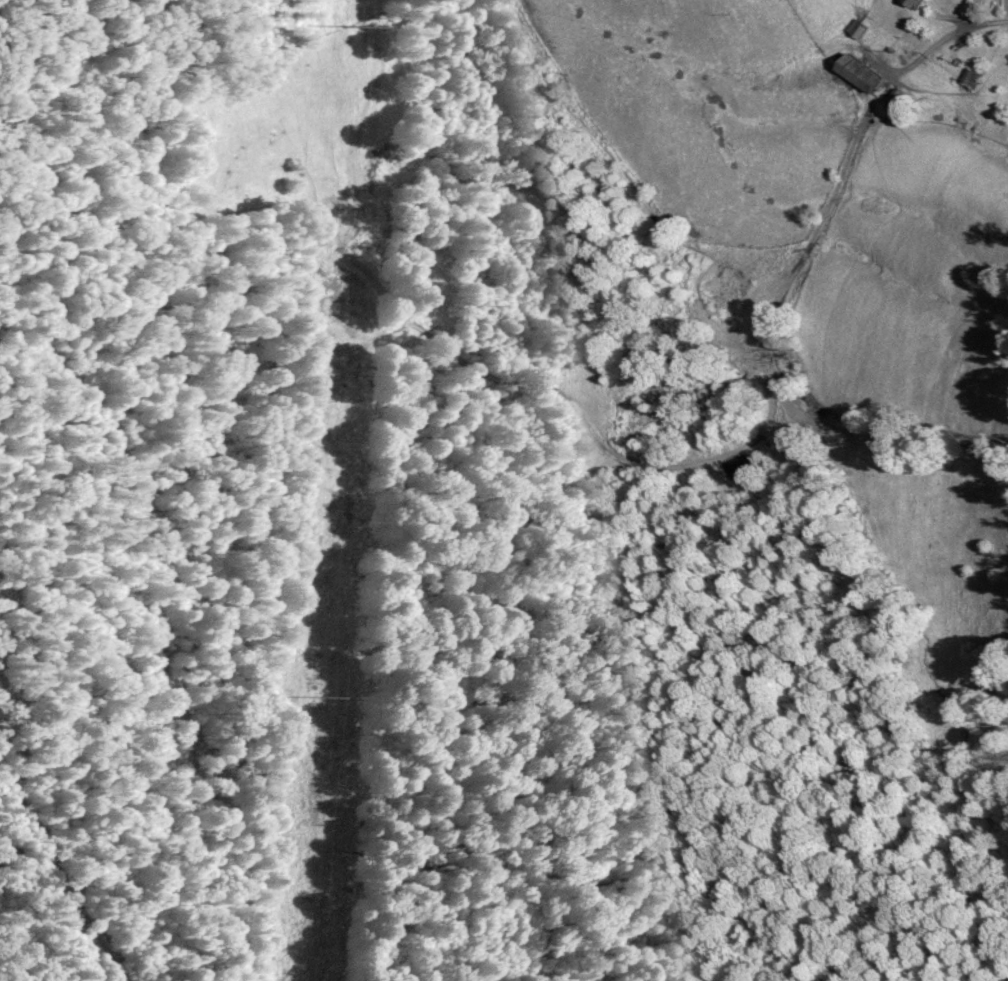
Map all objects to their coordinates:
building: (857, 26)
road: (957, 38)
building: (863, 72)
building: (972, 75)

